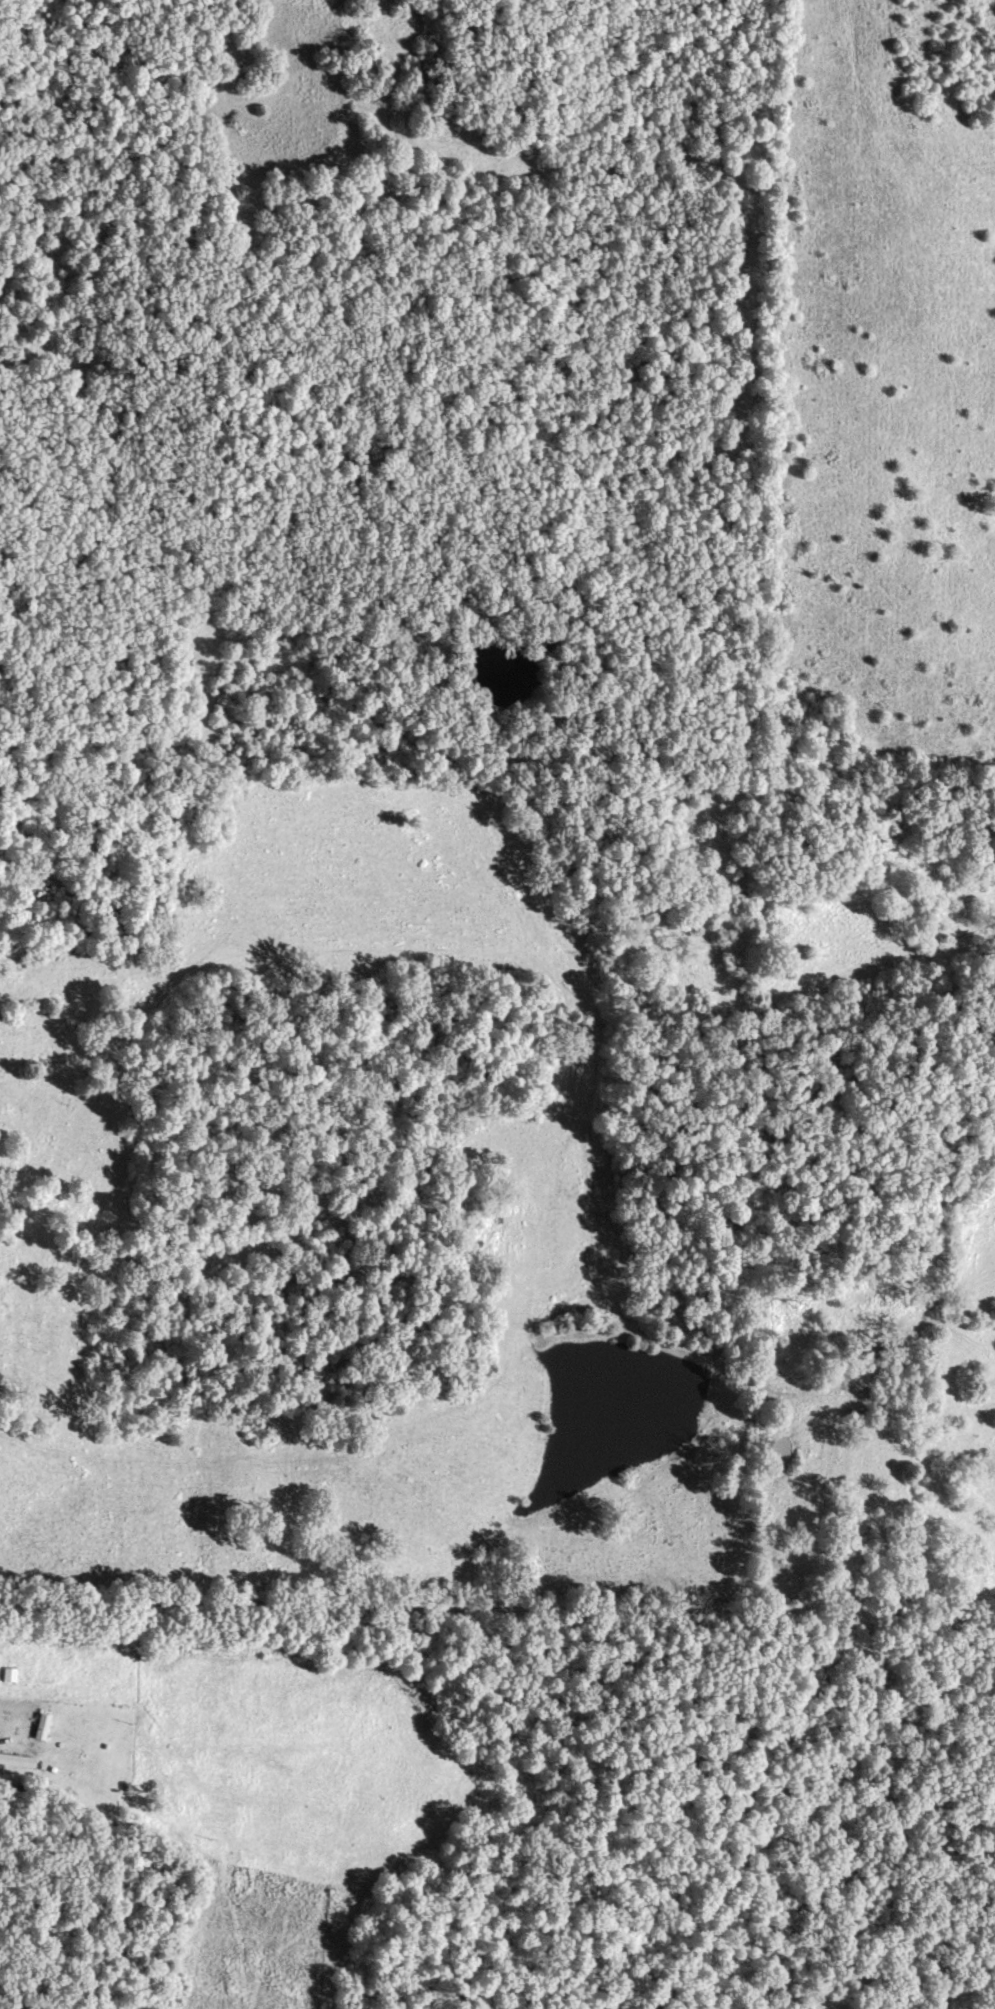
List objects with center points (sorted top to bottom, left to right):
building: (35, 1729)

